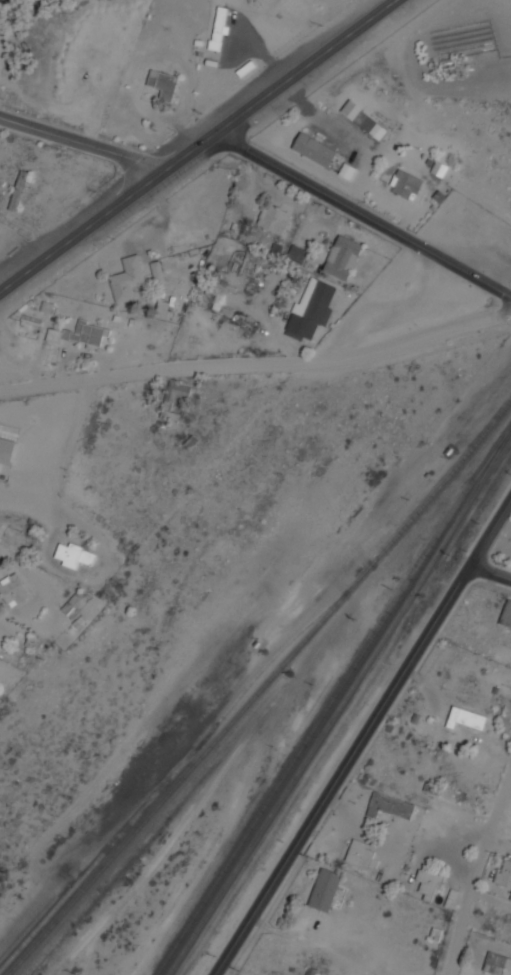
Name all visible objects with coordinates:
building: (218, 26)
building: (163, 83)
building: (363, 120)
road: (21, 123)
road: (197, 145)
road: (100, 147)
building: (314, 149)
building: (346, 170)
building: (405, 184)
building: (18, 191)
road: (364, 214)
building: (273, 219)
building: (296, 253)
building: (342, 257)
building: (157, 271)
building: (127, 279)
building: (162, 308)
building: (311, 309)
building: (89, 334)
road: (257, 359)
building: (173, 399)
building: (6, 450)
building: (74, 555)
road: (490, 572)
building: (13, 590)
building: (506, 614)
railway: (261, 689)
railway: (331, 699)
railway: (340, 704)
building: (466, 718)
road: (363, 736)
railway: (185, 762)
building: (389, 806)
building: (428, 827)
building: (360, 853)
road: (477, 869)
building: (504, 875)
building: (428, 881)
building: (324, 889)
road: (491, 898)
building: (494, 963)

